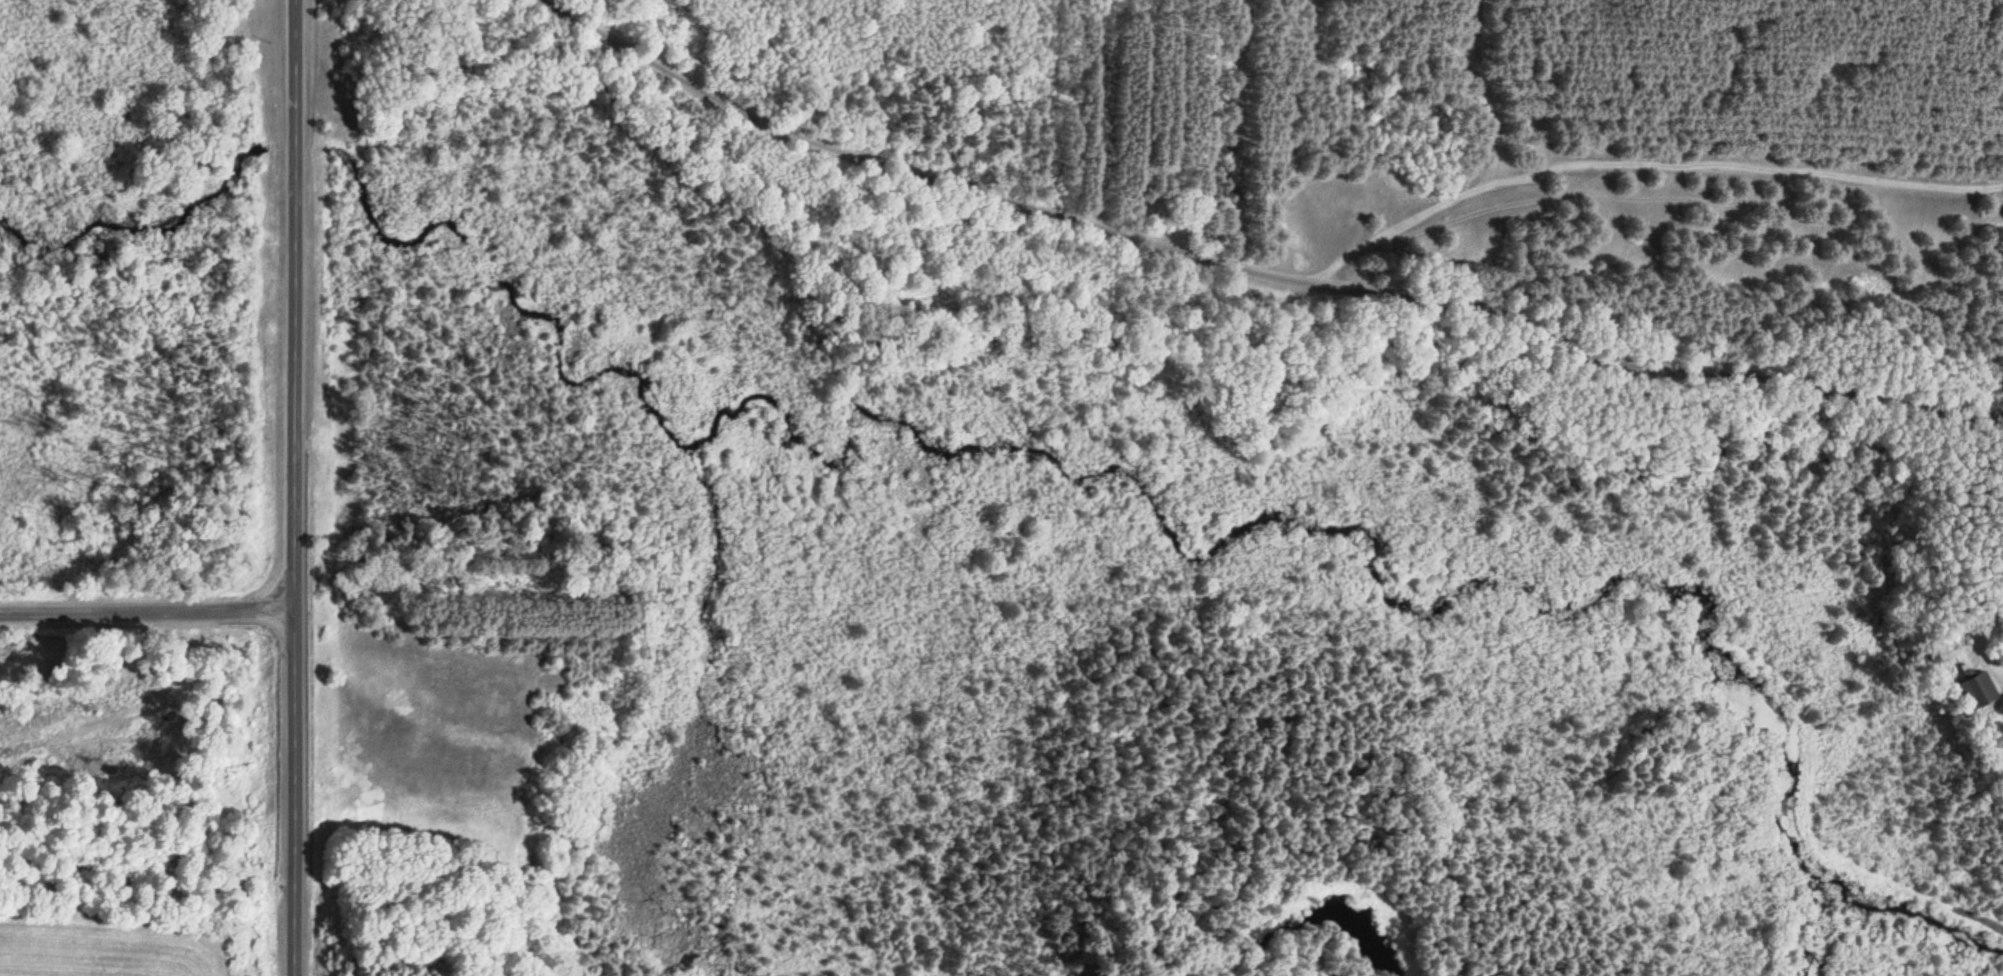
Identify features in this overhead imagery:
road: (1257, 270)
road: (1654, 376)
road: (287, 487)
road: (143, 614)
building: (1980, 691)

